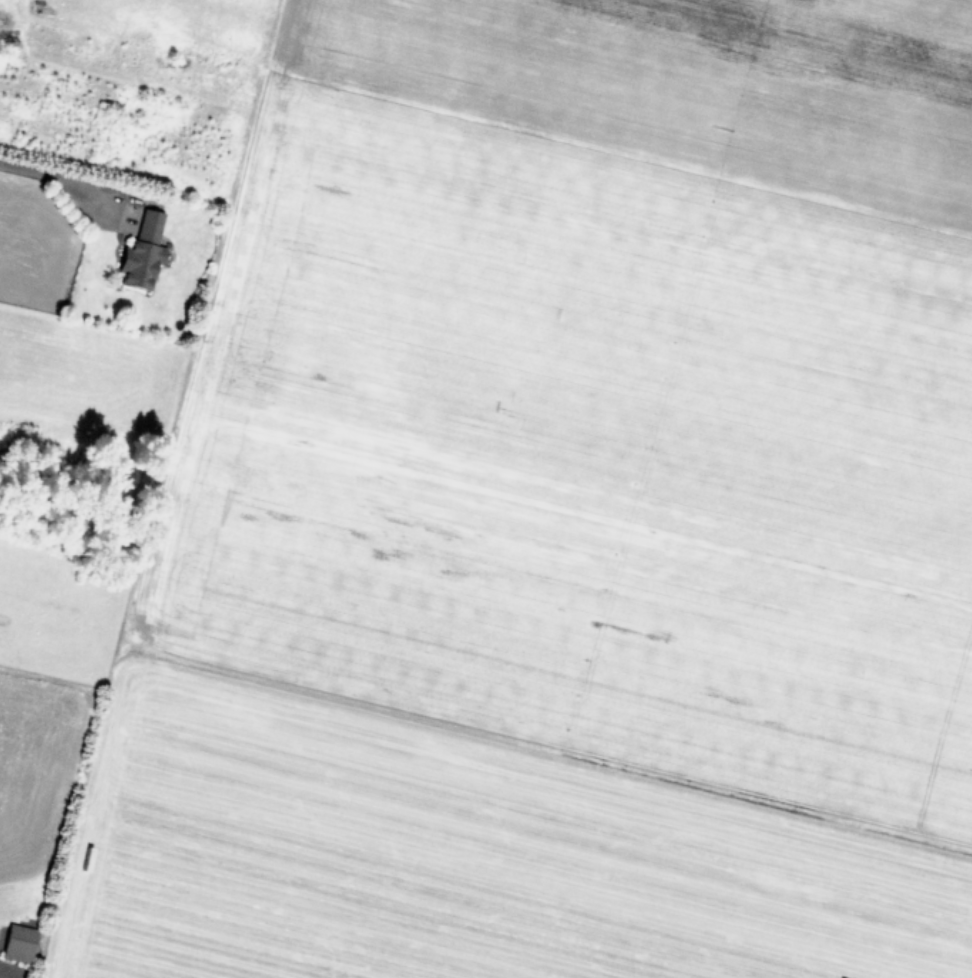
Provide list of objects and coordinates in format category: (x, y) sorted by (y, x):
road: (56, 177)
building: (143, 253)
crop: (486, 489)
building: (19, 944)

